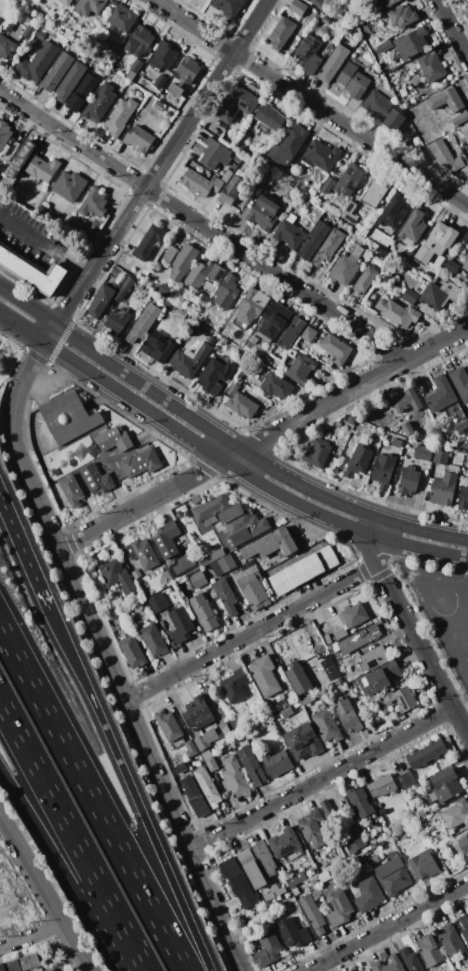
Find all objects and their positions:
building: (65, 2)
building: (114, 2)
building: (319, 3)
building: (386, 3)
building: (89, 6)
building: (298, 7)
building: (227, 8)
building: (403, 16)
building: (122, 18)
building: (0, 19)
road: (451, 30)
building: (163, 31)
building: (281, 33)
building: (41, 36)
building: (140, 41)
building: (412, 43)
building: (385, 46)
building: (6, 47)
building: (164, 55)
building: (310, 55)
building: (354, 55)
building: (37, 63)
building: (333, 64)
building: (102, 66)
building: (432, 68)
building: (134, 69)
building: (188, 70)
building: (58, 72)
building: (353, 79)
building: (70, 81)
building: (160, 81)
building: (176, 90)
building: (403, 92)
building: (82, 93)
building: (446, 100)
building: (100, 103)
road: (310, 103)
building: (237, 104)
building: (406, 104)
building: (159, 106)
building: (383, 110)
building: (120, 116)
building: (270, 116)
building: (460, 119)
building: (465, 130)
building: (4, 136)
building: (139, 139)
building: (201, 141)
building: (291, 143)
building: (198, 148)
building: (215, 155)
building: (322, 155)
building: (445, 156)
building: (238, 157)
building: (19, 158)
road: (161, 162)
building: (1, 168)
building: (43, 168)
building: (227, 176)
building: (350, 179)
building: (467, 182)
building: (196, 183)
building: (216, 183)
building: (270, 185)
building: (328, 185)
building: (70, 186)
building: (234, 187)
building: (13, 191)
building: (311, 193)
building: (374, 194)
building: (306, 202)
building: (94, 204)
building: (262, 212)
building: (350, 213)
building: (393, 214)
building: (291, 217)
road: (202, 226)
building: (413, 228)
building: (83, 233)
parking lot: (29, 234)
building: (290, 234)
building: (465, 238)
building: (314, 241)
building: (149, 242)
building: (437, 242)
road: (44, 244)
building: (328, 247)
building: (170, 253)
building: (436, 261)
building: (183, 262)
building: (453, 266)
building: (465, 266)
building: (346, 270)
building: (32, 271)
building: (120, 273)
building: (204, 274)
building: (467, 276)
building: (365, 279)
building: (208, 288)
building: (166, 290)
building: (122, 291)
building: (227, 292)
building: (437, 293)
building: (411, 296)
building: (101, 301)
road: (27, 305)
building: (251, 306)
building: (172, 307)
building: (180, 313)
building: (398, 313)
building: (118, 320)
building: (274, 321)
building: (143, 323)
road: (22, 328)
building: (292, 332)
building: (309, 334)
building: (211, 340)
building: (157, 347)
building: (337, 348)
building: (189, 360)
building: (301, 369)
building: (240, 374)
building: (215, 376)
building: (460, 382)
building: (276, 385)
road: (353, 388)
building: (233, 389)
building: (441, 395)
building: (406, 401)
building: (242, 405)
building: (68, 417)
building: (461, 424)
building: (407, 428)
building: (113, 439)
building: (397, 443)
building: (318, 453)
building: (423, 453)
building: (116, 454)
road: (231, 455)
road: (249, 456)
building: (441, 457)
building: (359, 461)
building: (140, 462)
building: (384, 470)
road: (244, 473)
building: (96, 479)
building: (409, 480)
building: (443, 489)
building: (70, 490)
building: (463, 497)
building: (195, 499)
road: (139, 505)
building: (231, 519)
road: (378, 527)
building: (166, 539)
building: (271, 544)
road: (24, 553)
building: (142, 553)
building: (216, 554)
building: (225, 564)
building: (90, 569)
building: (303, 570)
building: (111, 571)
building: (138, 577)
building: (198, 579)
road: (72, 589)
building: (171, 589)
building: (254, 590)
building: (227, 597)
building: (157, 601)
building: (204, 612)
building: (347, 620)
building: (181, 625)
road: (249, 632)
road: (414, 638)
building: (154, 640)
building: (357, 640)
building: (332, 649)
building: (132, 651)
building: (321, 655)
building: (374, 658)
building: (332, 672)
building: (265, 675)
building: (298, 678)
building: (380, 678)
building: (235, 683)
building: (340, 686)
building: (307, 700)
building: (405, 700)
building: (384, 706)
road: (460, 708)
building: (276, 709)
building: (286, 711)
building: (197, 713)
building: (347, 715)
building: (277, 717)
building: (327, 726)
building: (170, 727)
building: (224, 727)
building: (206, 739)
building: (304, 741)
building: (190, 749)
building: (426, 754)
building: (209, 760)
building: (278, 763)
building: (252, 765)
building: (181, 768)
building: (235, 777)
road: (320, 779)
building: (407, 780)
building: (208, 786)
building: (382, 786)
building: (444, 786)
road: (129, 789)
building: (195, 797)
road: (92, 798)
building: (360, 803)
building: (328, 809)
building: (382, 811)
building: (457, 814)
building: (313, 828)
building: (451, 831)
road: (72, 835)
building: (355, 841)
building: (465, 843)
building: (286, 845)
building: (264, 858)
building: (374, 859)
building: (424, 864)
road: (69, 865)
building: (252, 868)
building: (393, 875)
building: (324, 876)
building: (296, 879)
building: (313, 880)
building: (238, 882)
building: (338, 885)
building: (278, 890)
building: (296, 891)
road: (46, 895)
building: (368, 895)
building: (270, 896)
building: (339, 908)
road: (215, 911)
building: (313, 914)
building: (242, 921)
building: (464, 926)
road: (388, 927)
building: (294, 932)
road: (32, 935)
building: (451, 939)
building: (268, 947)
building: (430, 950)
building: (381, 953)
building: (411, 960)
building: (22, 964)
building: (390, 964)
road: (83, 968)

